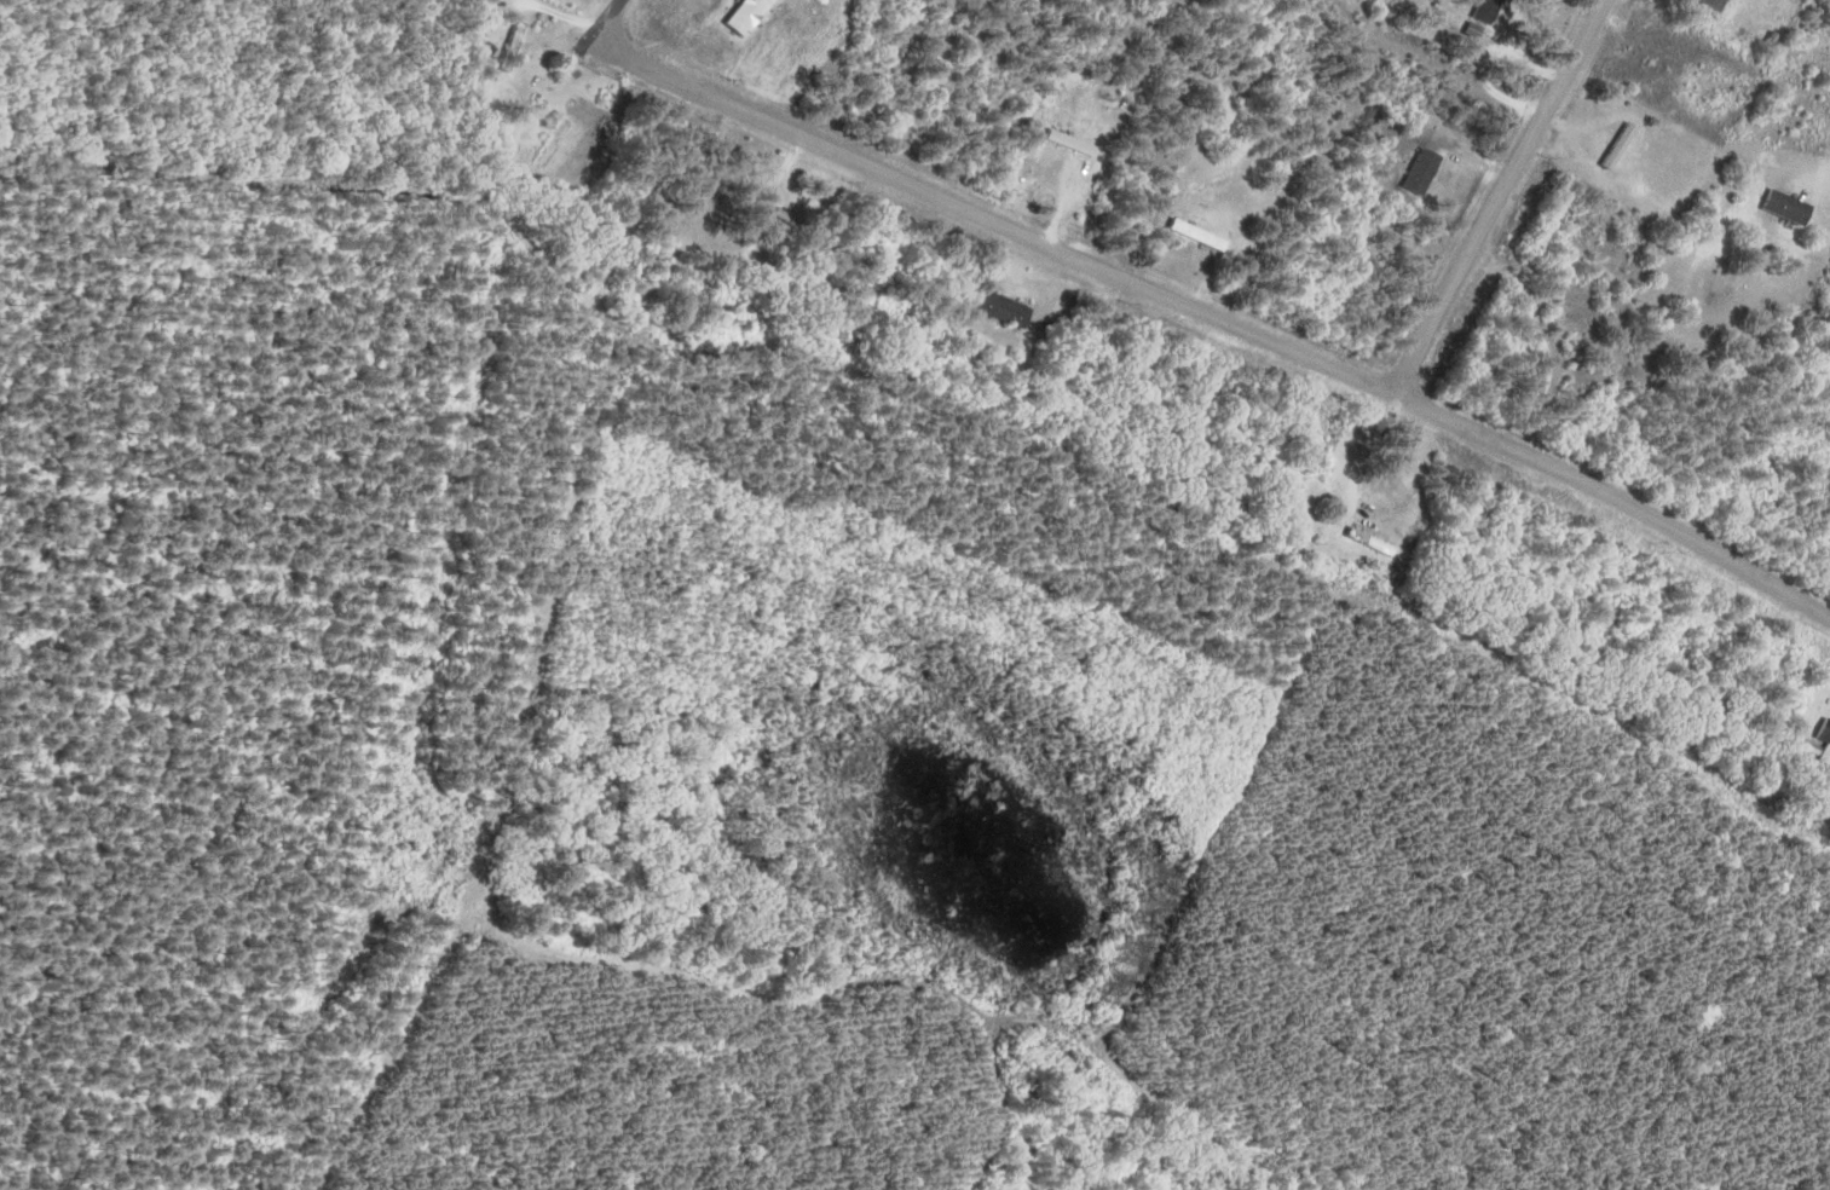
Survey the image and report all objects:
building: (1721, 4)
building: (1491, 10)
road: (601, 27)
road: (1499, 195)
building: (1202, 235)
building: (1008, 310)
road: (1217, 311)
building: (1374, 542)
building: (1826, 730)
building: (1826, 756)

